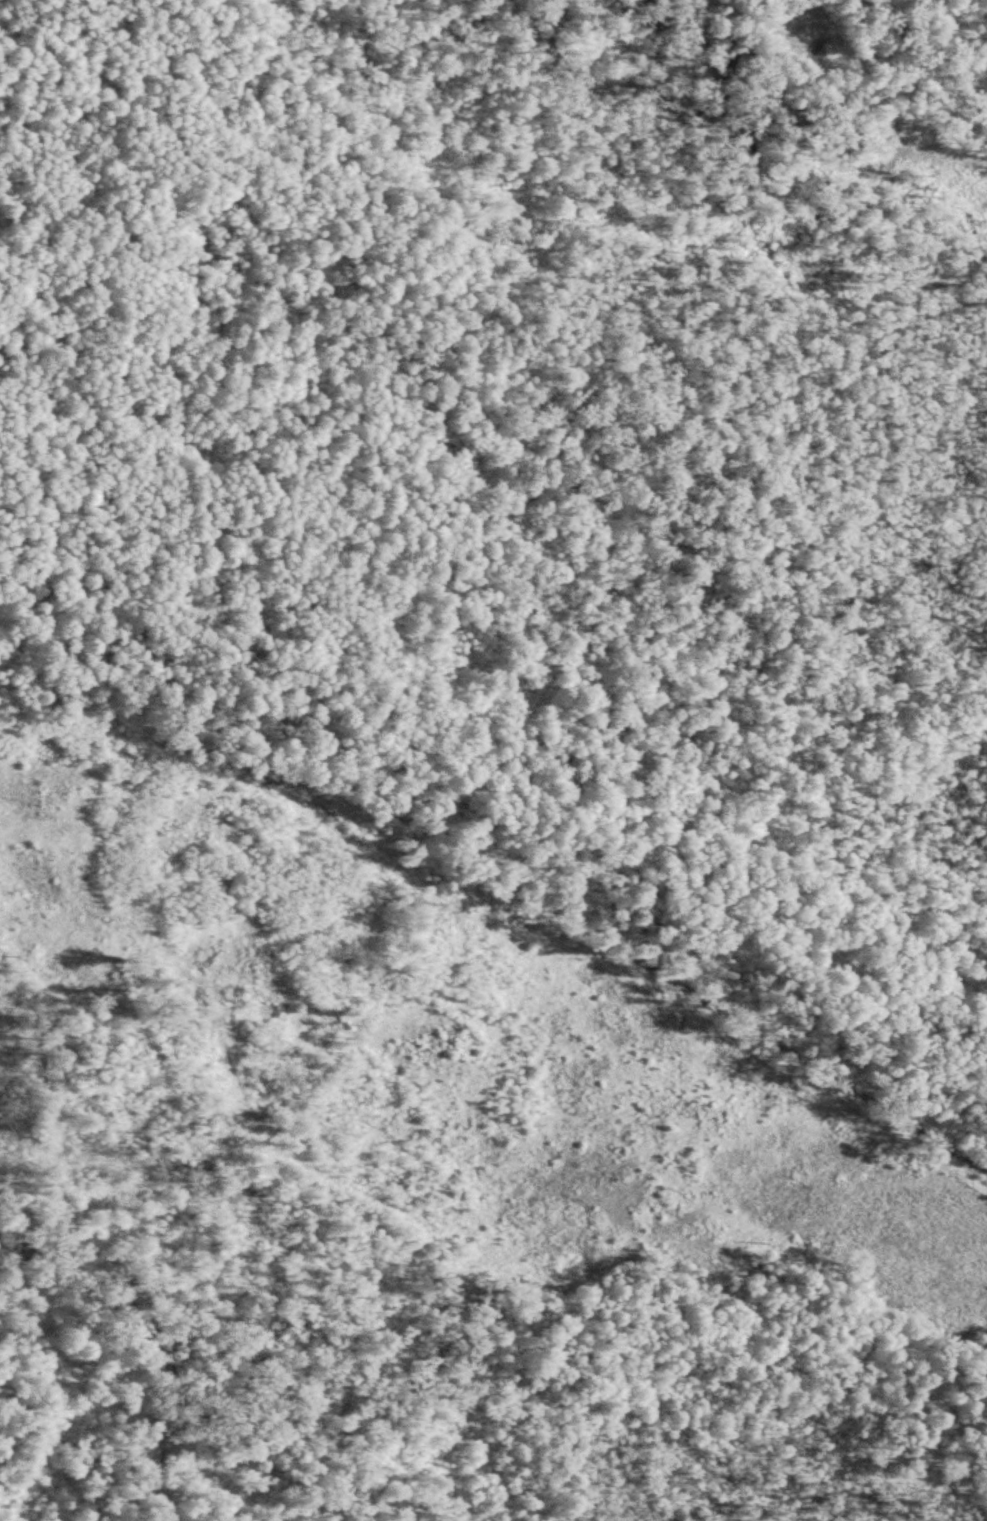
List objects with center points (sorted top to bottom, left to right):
road: (409, 725)

